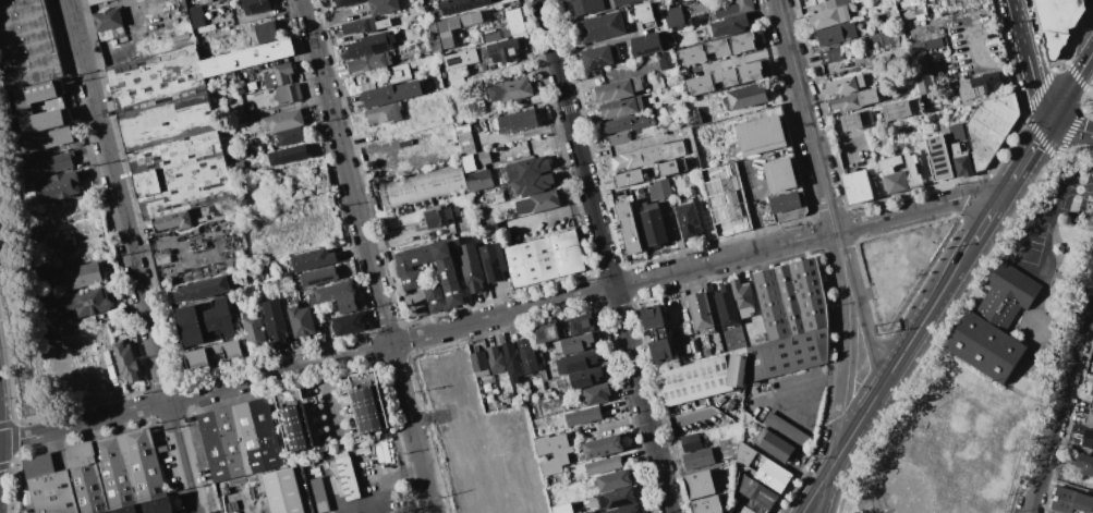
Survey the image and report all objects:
building: (333, 0)
building: (1092, 0)
building: (96, 1)
building: (206, 1)
building: (854, 1)
building: (345, 2)
building: (626, 2)
building: (833, 3)
building: (1078, 4)
building: (461, 5)
building: (256, 7)
building: (382, 7)
building: (587, 7)
building: (733, 8)
building: (909, 14)
building: (644, 15)
building: (920, 15)
building: (197, 16)
building: (829, 16)
building: (672, 17)
building: (417, 19)
building: (107, 20)
building: (514, 22)
building: (384, 24)
building: (730, 24)
building: (1057, 24)
building: (356, 26)
building: (458, 26)
building: (600, 27)
building: (267, 32)
building: (836, 34)
building: (181, 40)
building: (646, 44)
building: (26, 45)
building: (731, 45)
building: (368, 46)
building: (923, 47)
building: (503, 50)
building: (692, 54)
building: (830, 56)
building: (597, 57)
building: (248, 58)
building: (666, 60)
road: (1030, 60)
building: (371, 62)
building: (460, 64)
road: (982, 64)
building: (399, 73)
building: (279, 75)
building: (922, 75)
building: (722, 78)
building: (860, 81)
building: (657, 83)
building: (636, 84)
building: (842, 85)
building: (976, 85)
road: (1070, 86)
building: (511, 90)
building: (615, 90)
building: (289, 93)
building: (390, 93)
building: (34, 95)
building: (748, 96)
building: (853, 100)
building: (619, 108)
building: (897, 110)
building: (384, 113)
road: (805, 115)
building: (857, 120)
building: (283, 121)
building: (518, 121)
traffic signals: (1048, 121)
building: (624, 124)
road: (1070, 126)
building: (991, 127)
building: (44, 130)
building: (957, 130)
building: (170, 132)
building: (760, 135)
building: (291, 136)
building: (619, 137)
building: (466, 142)
building: (713, 144)
building: (673, 149)
building: (658, 151)
building: (289, 155)
building: (647, 156)
building: (937, 157)
building: (482, 159)
road: (1024, 159)
building: (628, 160)
building: (961, 161)
building: (56, 163)
building: (671, 167)
building: (527, 168)
building: (379, 169)
building: (899, 173)
building: (778, 174)
building: (627, 179)
building: (479, 180)
building: (533, 184)
building: (59, 185)
building: (858, 186)
building: (424, 187)
building: (659, 190)
park: (1078, 191)
building: (727, 199)
building: (545, 200)
building: (784, 208)
building: (438, 217)
road: (1025, 218)
building: (688, 220)
road: (756, 220)
building: (172, 221)
building: (653, 224)
building: (628, 228)
parking lot: (4, 239)
road: (838, 247)
road: (969, 247)
railway: (839, 255)
road: (132, 256)
road: (368, 256)
road: (607, 256)
building: (313, 258)
building: (545, 258)
building: (161, 260)
building: (494, 261)
parking lot: (899, 265)
building: (473, 274)
building: (83, 276)
building: (318, 276)
building: (412, 277)
road: (890, 280)
building: (202, 289)
building: (333, 292)
road: (1045, 293)
building: (743, 297)
building: (84, 302)
building: (348, 304)
building: (726, 305)
building: (701, 310)
road: (500, 316)
building: (653, 317)
building: (300, 319)
building: (316, 319)
building: (790, 319)
building: (204, 321)
building: (276, 321)
road: (865, 322)
building: (583, 323)
building: (349, 325)
building: (995, 325)
building: (254, 330)
road: (21, 332)
building: (547, 333)
road: (909, 340)
building: (574, 344)
building: (661, 351)
building: (215, 354)
building: (526, 356)
building: (496, 361)
building: (126, 362)
building: (576, 362)
building: (512, 363)
building: (479, 364)
road: (847, 368)
park: (987, 371)
building: (705, 377)
building: (584, 378)
road: (805, 387)
building: (1092, 390)
building: (596, 394)
building: (1092, 401)
road: (1059, 402)
building: (366, 403)
road: (13, 413)
building: (584, 416)
building: (1090, 419)
building: (297, 420)
road: (8, 425)
road: (854, 428)
building: (787, 431)
building: (476, 433)
building: (258, 436)
building: (1088, 439)
building: (691, 442)
building: (221, 444)
building: (774, 445)
building: (603, 447)
road: (0, 448)
building: (729, 450)
building: (552, 452)
building: (699, 459)
building: (1084, 464)
building: (37, 465)
building: (145, 465)
building: (603, 465)
building: (762, 466)
road: (8, 467)
building: (116, 472)
park: (925, 472)
building: (348, 478)
building: (86, 479)
building: (614, 480)
building: (707, 483)
building: (752, 488)
building: (283, 491)
building: (52, 492)
road: (814, 492)
road: (824, 492)
building: (318, 494)
crop: (507, 498)
building: (615, 499)
building: (1071, 501)
building: (163, 504)
building: (706, 505)
building: (146, 506)
building: (129, 509)
building: (623, 509)
building: (738, 509)
building: (556, 510)
building: (113, 511)

